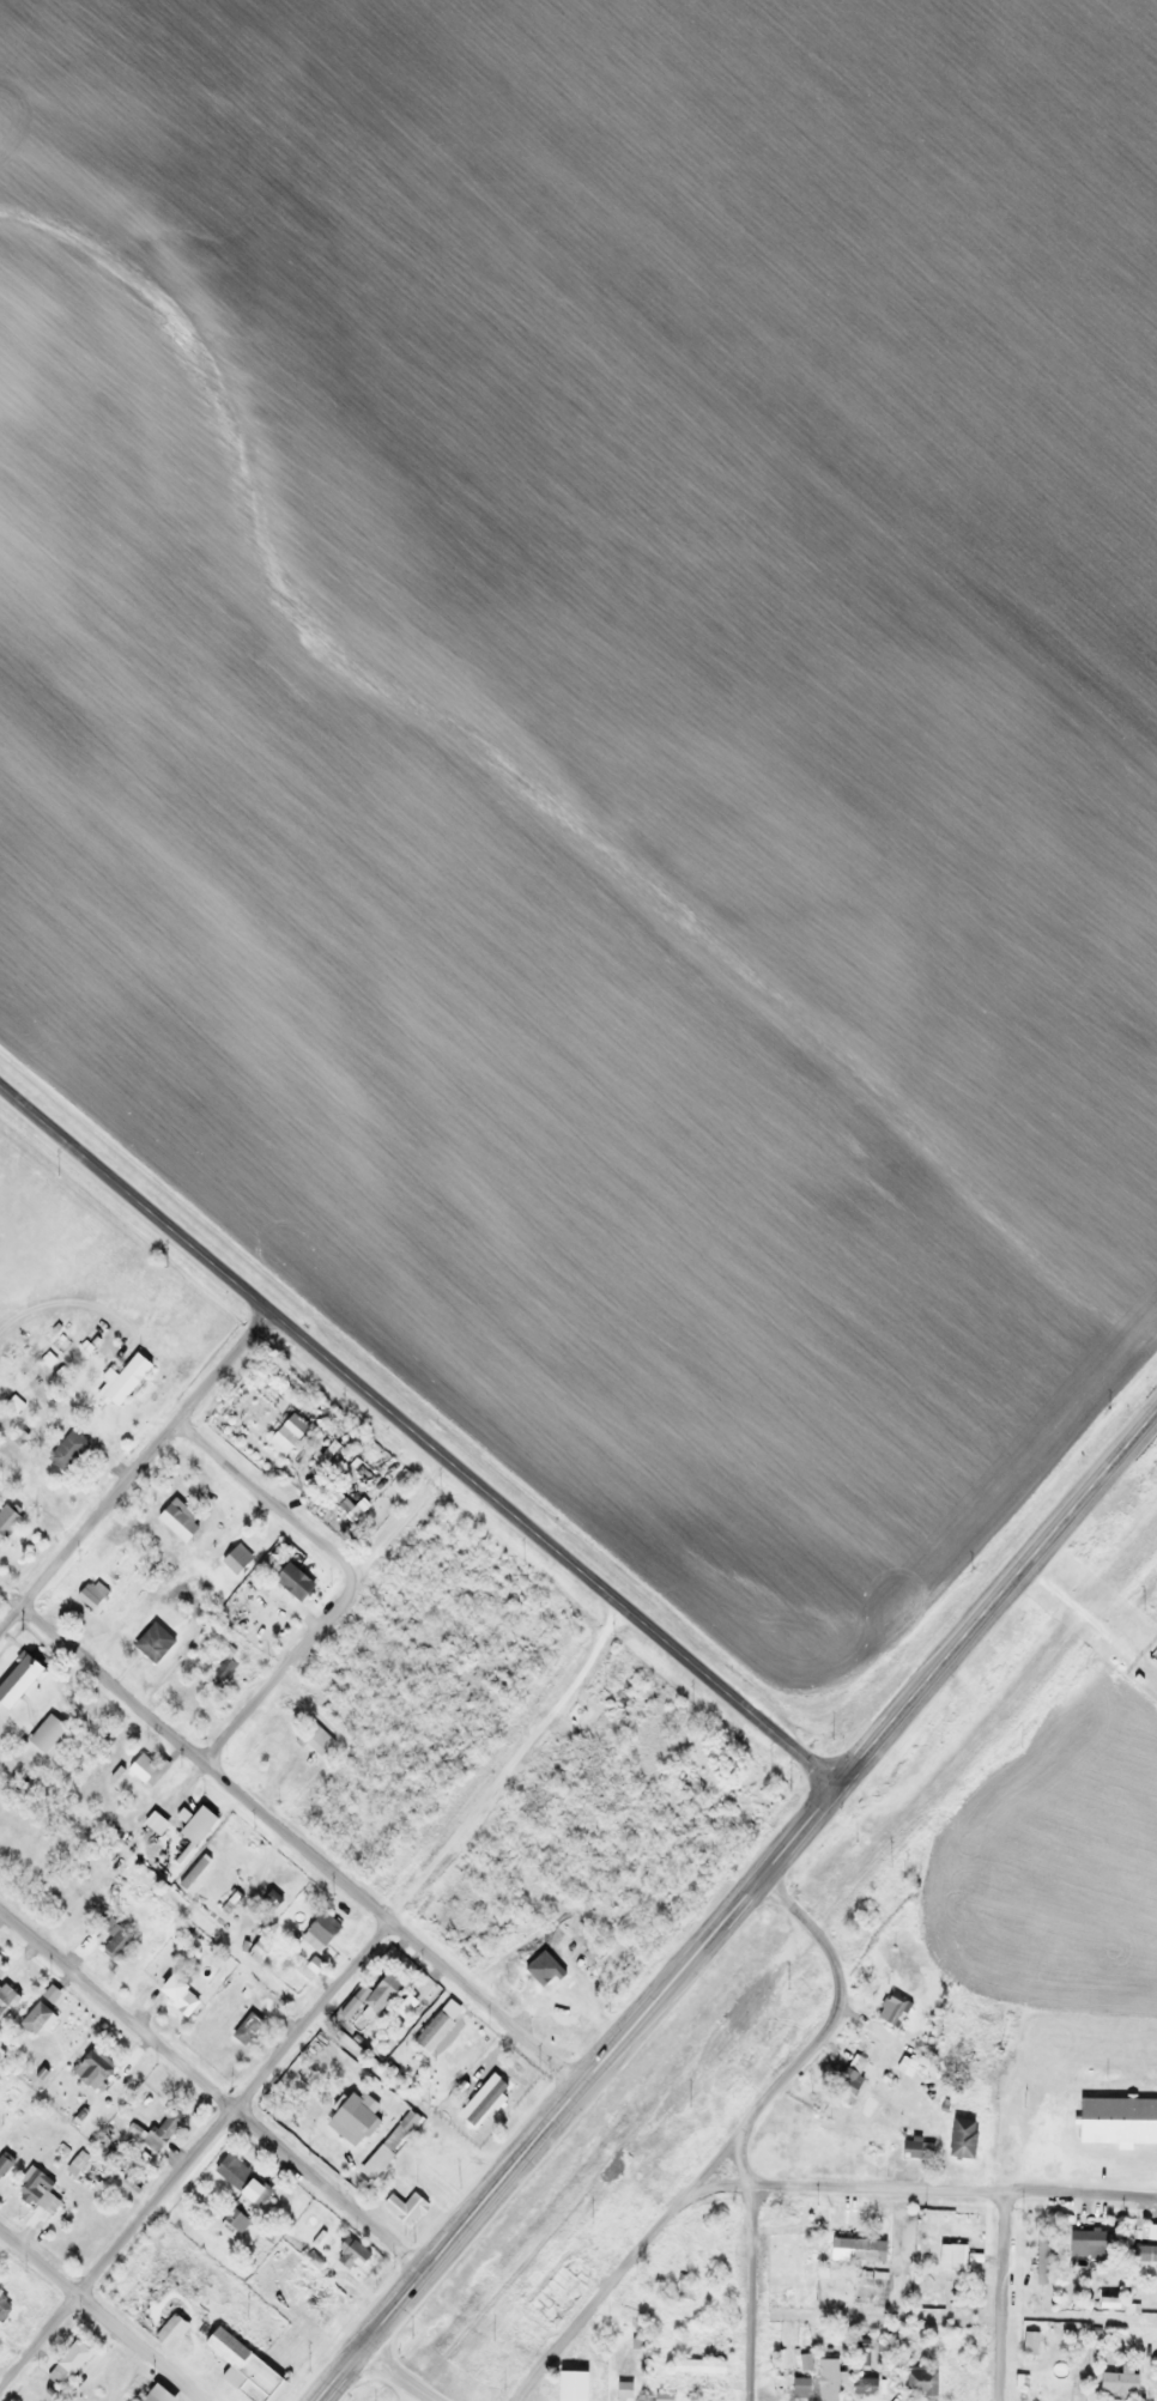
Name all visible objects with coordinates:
building: (119, 1381)
road: (417, 1436)
building: (278, 1441)
building: (65, 1450)
building: (320, 1456)
road: (133, 1469)
building: (6, 1521)
building: (234, 1558)
road: (345, 1578)
building: (289, 1581)
road: (994, 1601)
building: (260, 1621)
building: (151, 1643)
building: (222, 1671)
building: (16, 1679)
building: (619, 1696)
building: (184, 1702)
building: (43, 1734)
building: (313, 1738)
building: (139, 1769)
building: (192, 1825)
road: (299, 1845)
building: (316, 1932)
building: (114, 1945)
railway: (792, 1966)
building: (522, 1971)
building: (378, 1993)
building: (175, 1996)
building: (401, 2007)
building: (891, 2009)
building: (34, 2020)
building: (244, 2029)
building: (2, 2049)
building: (426, 2060)
building: (903, 2066)
road: (596, 2068)
building: (90, 2069)
building: (849, 2079)
road: (212, 2090)
building: (350, 2118)
building: (1114, 2121)
building: (160, 2129)
building: (956, 2141)
road: (726, 2142)
building: (914, 2150)
road: (194, 2153)
road: (737, 2163)
building: (2, 2164)
building: (74, 2164)
building: (235, 2177)
road: (713, 2185)
building: (35, 2189)
road: (953, 2193)
building: (402, 2208)
building: (234, 2220)
building: (1085, 2241)
building: (854, 2250)
building: (1152, 2251)
building: (350, 2254)
building: (947, 2256)
building: (1040, 2257)
building: (680, 2290)
road: (747, 2293)
road: (998, 2298)
building: (4, 2306)
road: (99, 2315)
building: (317, 2315)
building: (166, 2332)
building: (65, 2364)
building: (695, 2366)
building: (241, 2369)
road: (338, 2375)
road: (399, 2375)
building: (1156, 2375)
building: (824, 2379)
building: (919, 2381)
building: (1116, 2383)
building: (798, 2384)
building: (862, 2385)
building: (620, 2391)
road: (414, 2394)
building: (152, 2395)
building: (661, 2395)

